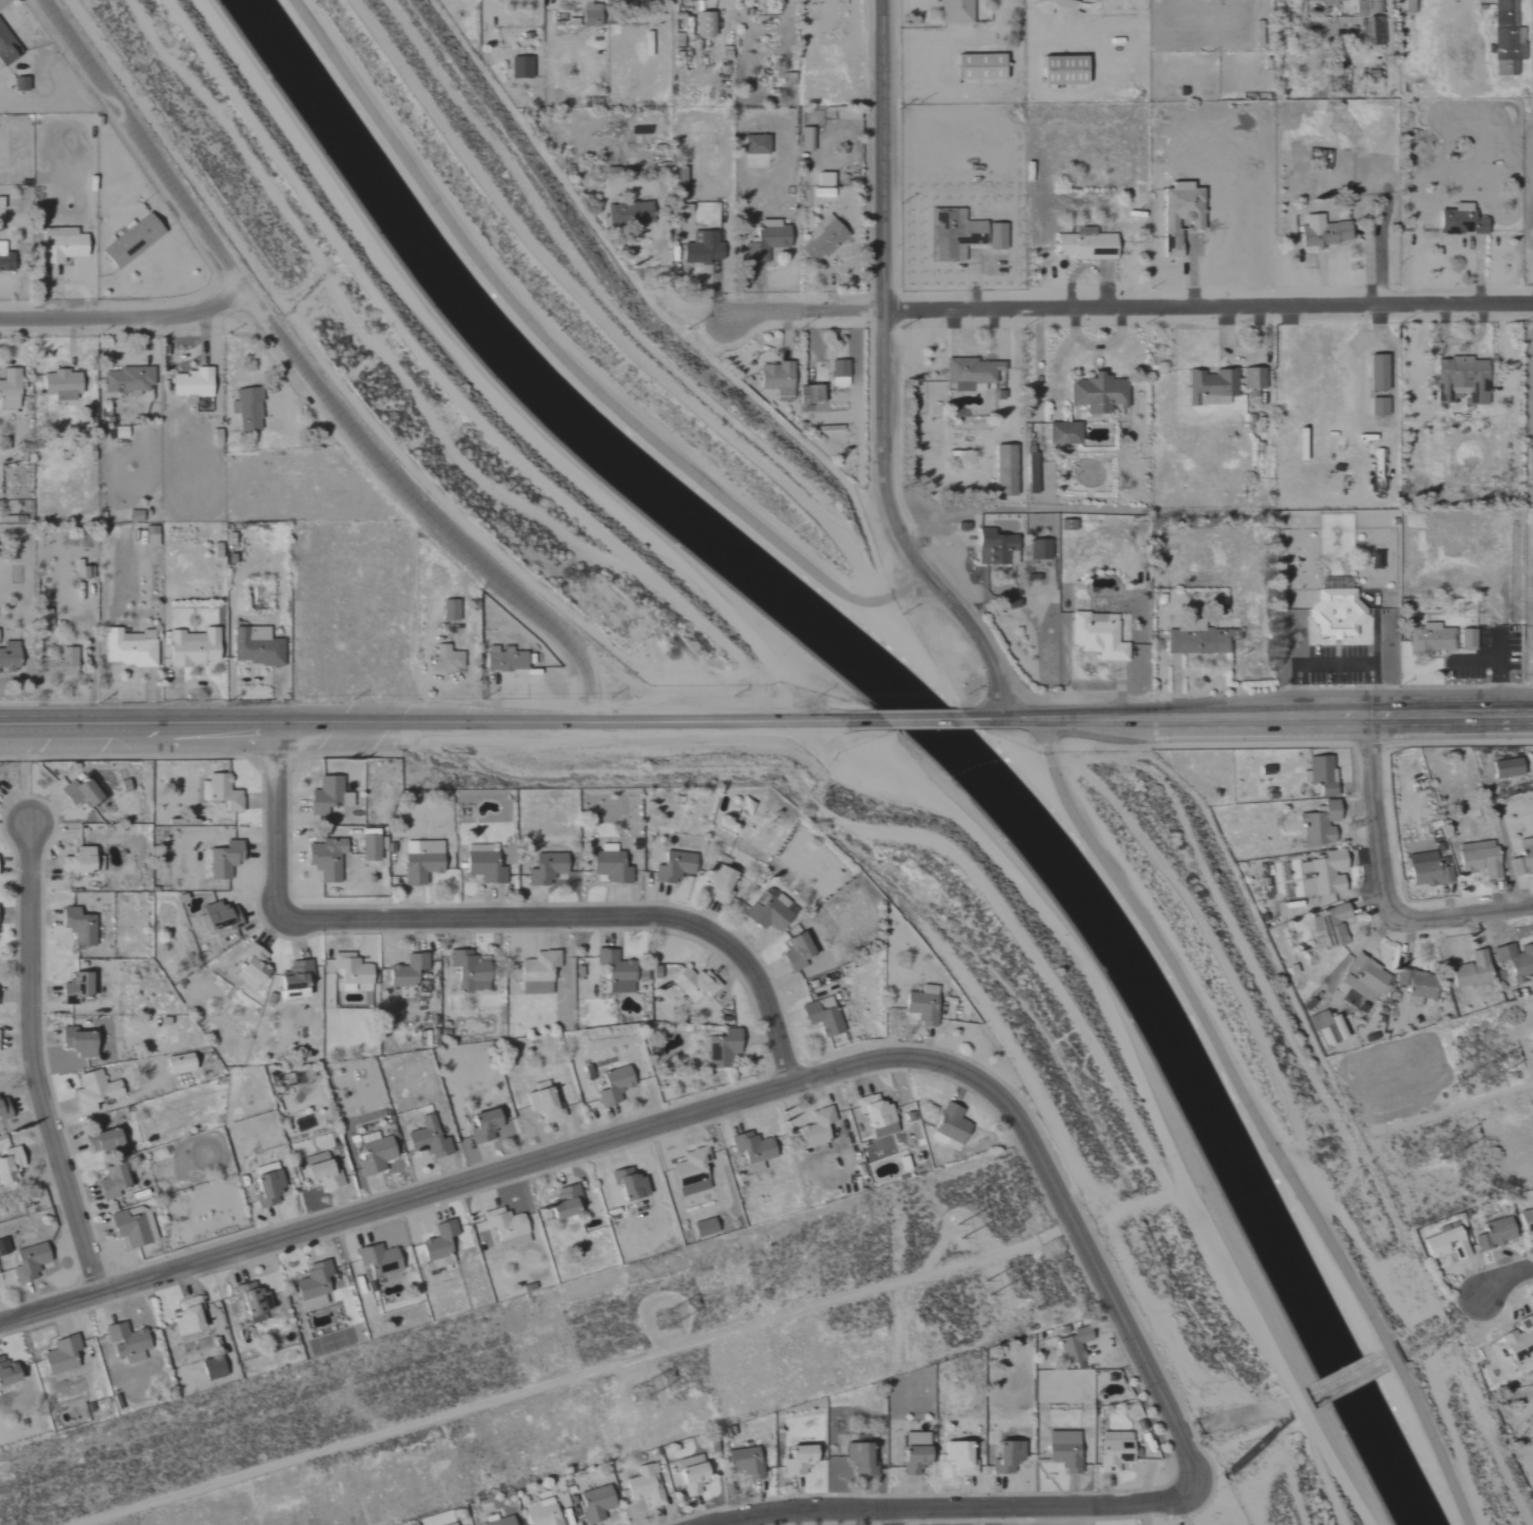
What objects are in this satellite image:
building: (1329, 1)
building: (1058, 3)
building: (1366, 7)
building: (953, 11)
building: (703, 24)
road: (485, 27)
building: (7, 47)
building: (519, 67)
building: (977, 67)
building: (1058, 70)
building: (23, 84)
building: (804, 139)
building: (753, 145)
building: (821, 193)
building: (628, 213)
building: (1178, 219)
building: (1459, 221)
building: (1321, 232)
building: (952, 235)
building: (995, 237)
building: (135, 240)
building: (762, 240)
building: (820, 240)
building: (65, 244)
building: (1084, 245)
building: (701, 248)
building: (7, 259)
road: (671, 295)
road: (1209, 298)
road: (807, 305)
road: (129, 316)
road: (594, 316)
road: (574, 349)
building: (1376, 371)
road: (433, 372)
building: (837, 372)
building: (970, 373)
road: (887, 375)
building: (774, 377)
building: (1251, 377)
road: (308, 379)
building: (1460, 379)
building: (130, 381)
building: (196, 384)
building: (63, 385)
road: (477, 386)
building: (1209, 386)
building: (11, 389)
building: (807, 393)
building: (1095, 393)
building: (1377, 406)
building: (247, 409)
road: (1462, 412)
building: (121, 432)
building: (1062, 433)
building: (1004, 469)
building: (133, 515)
building: (148, 540)
building: (993, 547)
building: (216, 550)
building: (1038, 550)
building: (1369, 560)
building: (77, 568)
building: (448, 609)
building: (1334, 609)
building: (1096, 635)
building: (1466, 638)
building: (1431, 639)
building: (1199, 642)
building: (191, 646)
building: (254, 646)
building: (130, 648)
building: (8, 655)
building: (444, 658)
building: (503, 659)
building: (60, 662)
road: (1334, 664)
road: (1498, 668)
road: (1257, 717)
road: (934, 720)
road: (443, 726)
building: (1505, 767)
building: (1319, 774)
building: (78, 790)
building: (222, 792)
building: (325, 795)
road: (1375, 814)
building: (1318, 824)
building: (367, 847)
building: (1522, 857)
building: (323, 858)
building: (222, 859)
building: (419, 860)
building: (79, 861)
building: (1478, 861)
building: (481, 863)
building: (607, 865)
building: (673, 865)
building: (544, 868)
building: (1425, 869)
building: (1323, 874)
building: (717, 882)
building: (768, 911)
building: (215, 916)
road: (492, 919)
road: (1463, 921)
building: (76, 925)
building: (1329, 925)
building: (793, 952)
building: (1515, 960)
building: (249, 966)
building: (405, 970)
building: (1468, 970)
building: (349, 971)
building: (467, 971)
building: (616, 971)
building: (535, 972)
building: (651, 972)
building: (1362, 978)
building: (293, 979)
building: (692, 983)
building: (1415, 985)
building: (72, 988)
building: (921, 1004)
building: (820, 1016)
building: (1324, 1027)
building: (75, 1042)
building: (718, 1048)
road: (30, 1060)
building: (176, 1063)
power tower: (1488, 1066)
road: (1133, 1080)
building: (611, 1085)
building: (91, 1091)
building: (541, 1104)
road: (720, 1107)
building: (874, 1117)
road: (1262, 1118)
building: (481, 1125)
building: (948, 1127)
building: (813, 1129)
building: (425, 1138)
power tower: (1450, 1148)
building: (750, 1150)
building: (374, 1155)
building: (8, 1163)
building: (320, 1170)
building: (689, 1172)
building: (108, 1182)
building: (627, 1184)
building: (264, 1187)
building: (559, 1201)
building: (1525, 1220)
building: (130, 1226)
building: (503, 1227)
building: (701, 1228)
building: (1492, 1233)
building: (1443, 1244)
building: (437, 1245)
building: (3, 1246)
building: (377, 1259)
building: (26, 1262)
road: (1504, 1275)
building: (311, 1285)
building: (250, 1299)
building: (185, 1315)
power tower: (667, 1315)
building: (1518, 1339)
building: (124, 1342)
building: (1071, 1346)
building: (59, 1355)
building: (210, 1368)
building: (7, 1372)
power tower: (647, 1388)
building: (1530, 1434)
building: (1061, 1449)
building: (912, 1452)
building: (1112, 1455)
building: (1005, 1456)
building: (958, 1457)
building: (858, 1458)
building: (795, 1459)
building: (743, 1462)
building: (689, 1477)
building: (643, 1485)
building: (593, 1503)
road: (959, 1506)
building: (539, 1512)
road: (894, 1517)
building: (495, 1521)

